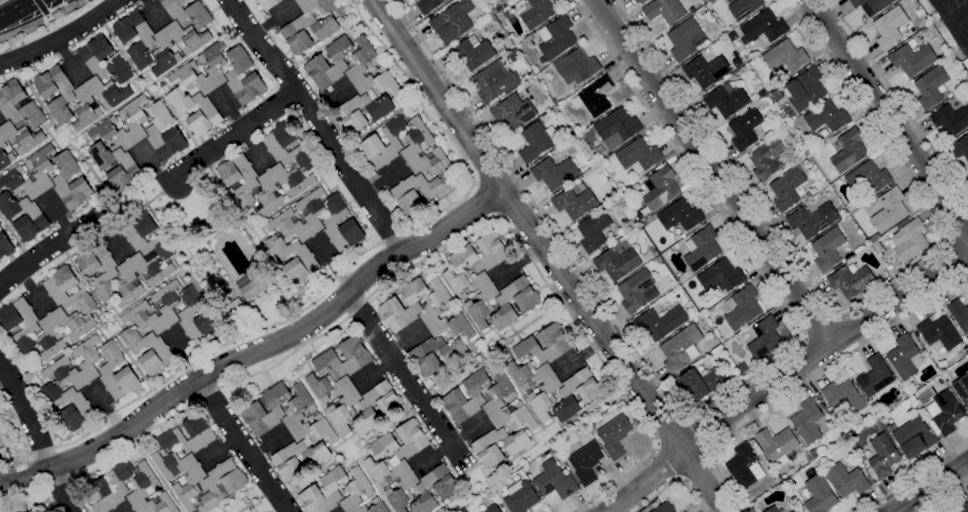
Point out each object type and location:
building: (502, 1)
building: (636, 1)
building: (267, 4)
park: (952, 4)
building: (428, 5)
building: (320, 6)
building: (870, 6)
building: (743, 8)
road: (18, 10)
road: (42, 10)
building: (663, 10)
road: (152, 12)
building: (187, 12)
building: (533, 12)
building: (703, 12)
road: (273, 20)
road: (46, 22)
building: (452, 22)
building: (347, 24)
building: (889, 27)
park: (963, 27)
building: (762, 28)
building: (350, 29)
building: (911, 30)
building: (292, 34)
road: (62, 36)
building: (732, 36)
building: (555, 38)
building: (685, 40)
building: (146, 41)
building: (911, 43)
building: (165, 48)
road: (198, 51)
building: (511, 51)
building: (472, 53)
building: (943, 54)
building: (302, 55)
building: (784, 57)
building: (92, 58)
building: (911, 59)
building: (305, 60)
road: (68, 61)
building: (317, 61)
building: (358, 65)
building: (576, 67)
building: (202, 69)
building: (705, 70)
building: (251, 77)
building: (494, 81)
building: (930, 87)
building: (803, 89)
building: (942, 89)
building: (707, 91)
building: (66, 96)
building: (776, 96)
road: (133, 97)
road: (331, 98)
building: (594, 98)
road: (899, 99)
building: (725, 100)
road: (38, 101)
building: (9, 103)
building: (85, 105)
road: (229, 109)
building: (512, 112)
building: (206, 113)
building: (348, 114)
road: (174, 115)
road: (888, 115)
building: (826, 117)
building: (949, 119)
building: (106, 123)
road: (318, 123)
building: (616, 128)
building: (745, 129)
building: (153, 133)
building: (191, 133)
road: (234, 134)
building: (186, 137)
building: (372, 141)
building: (535, 142)
building: (28, 145)
road: (41, 146)
building: (276, 146)
building: (412, 148)
building: (960, 148)
road: (252, 149)
building: (848, 151)
building: (638, 156)
building: (766, 159)
building: (115, 166)
road: (88, 167)
road: (153, 167)
road: (712, 172)
building: (15, 173)
building: (554, 173)
building: (867, 178)
building: (58, 180)
road: (384, 180)
building: (239, 181)
building: (635, 187)
building: (659, 188)
building: (786, 188)
building: (269, 191)
building: (404, 195)
road: (484, 201)
building: (573, 203)
building: (887, 210)
road: (57, 214)
building: (638, 214)
building: (679, 215)
building: (286, 216)
building: (33, 218)
building: (812, 220)
building: (0, 224)
building: (350, 224)
building: (0, 225)
building: (365, 227)
building: (593, 230)
road: (110, 235)
building: (873, 237)
road: (16, 238)
building: (908, 239)
road: (950, 240)
building: (5, 245)
road: (51, 246)
building: (876, 247)
building: (702, 249)
building: (827, 249)
building: (493, 251)
building: (601, 251)
building: (654, 253)
road: (959, 253)
road: (547, 256)
building: (142, 259)
building: (881, 259)
road: (174, 260)
building: (303, 260)
building: (658, 260)
road: (517, 263)
building: (616, 264)
road: (334, 265)
road: (412, 265)
building: (904, 267)
building: (98, 269)
road: (335, 276)
building: (720, 276)
building: (850, 280)
road: (87, 287)
road: (32, 290)
building: (249, 290)
building: (67, 291)
building: (637, 291)
building: (484, 300)
building: (250, 304)
building: (391, 304)
building: (525, 305)
road: (854, 307)
building: (541, 308)
building: (742, 308)
building: (192, 311)
building: (432, 311)
building: (959, 315)
building: (694, 316)
road: (836, 317)
building: (548, 318)
building: (660, 322)
road: (474, 328)
road: (820, 329)
building: (28, 330)
road: (518, 331)
building: (939, 332)
building: (504, 333)
building: (72, 334)
building: (764, 338)
road: (803, 339)
road: (406, 340)
road: (75, 342)
building: (510, 343)
building: (557, 344)
road: (258, 349)
building: (680, 349)
road: (124, 351)
building: (158, 352)
road: (186, 354)
building: (353, 355)
road: (581, 356)
building: (903, 357)
building: (424, 360)
building: (61, 363)
road: (460, 369)
building: (742, 369)
building: (104, 370)
road: (374, 372)
road: (404, 376)
road: (782, 376)
building: (874, 377)
road: (299, 378)
road: (807, 381)
building: (940, 382)
road: (511, 384)
building: (698, 384)
building: (961, 389)
building: (546, 392)
building: (589, 396)
building: (454, 397)
building: (843, 397)
building: (493, 400)
building: (345, 405)
road: (702, 405)
building: (79, 407)
building: (388, 409)
road: (107, 410)
building: (266, 410)
building: (825, 411)
road: (26, 413)
building: (295, 413)
building: (945, 414)
road: (327, 419)
building: (884, 420)
building: (807, 422)
road: (669, 431)
building: (201, 435)
road: (696, 435)
building: (614, 436)
building: (913, 436)
building: (414, 439)
road: (361, 442)
road: (450, 443)
road: (268, 444)
road: (242, 445)
building: (776, 445)
building: (485, 450)
road: (219, 451)
building: (550, 451)
road: (522, 452)
building: (546, 453)
building: (814, 453)
building: (881, 457)
building: (808, 459)
road: (665, 461)
building: (585, 462)
building: (287, 464)
road: (464, 465)
road: (693, 465)
building: (743, 467)
road: (155, 470)
road: (319, 471)
road: (913, 476)
building: (192, 480)
road: (671, 480)
building: (846, 480)
building: (554, 481)
building: (220, 484)
building: (97, 485)
road: (376, 486)
building: (405, 486)
road: (929, 486)
building: (141, 488)
building: (434, 489)
road: (61, 490)
building: (359, 490)
building: (312, 491)
building: (819, 495)
road: (945, 496)
building: (520, 497)
road: (255, 501)
building: (662, 507)
building: (965, 507)
building: (491, 509)
building: (772, 509)
road: (128, 511)
building: (683, 511)
building: (791, 511)

